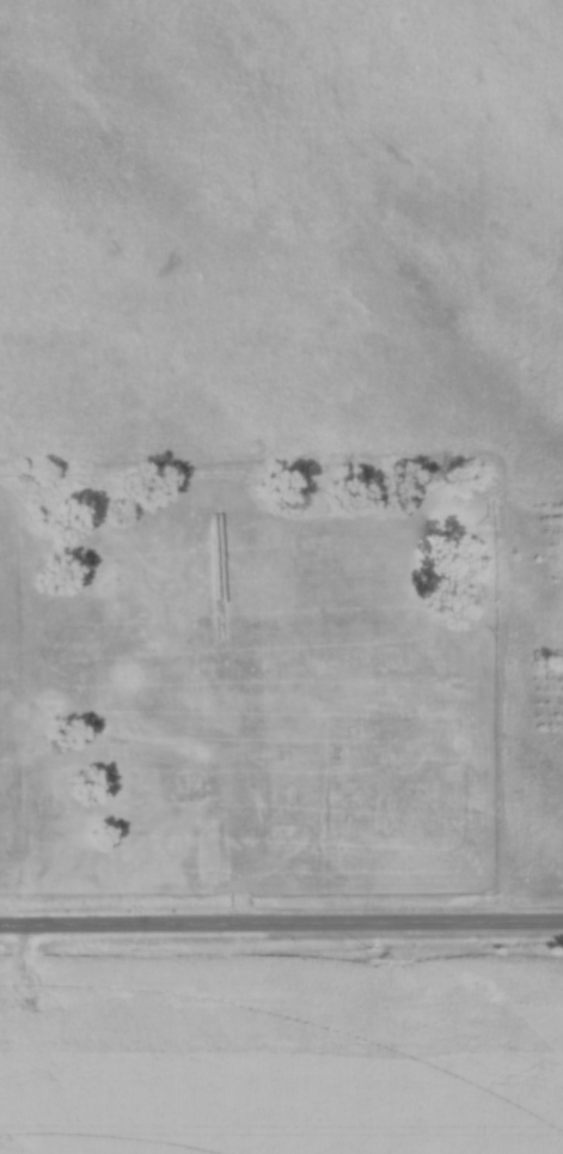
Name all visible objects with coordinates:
building: (118, 733)
road: (235, 815)
road: (281, 931)

